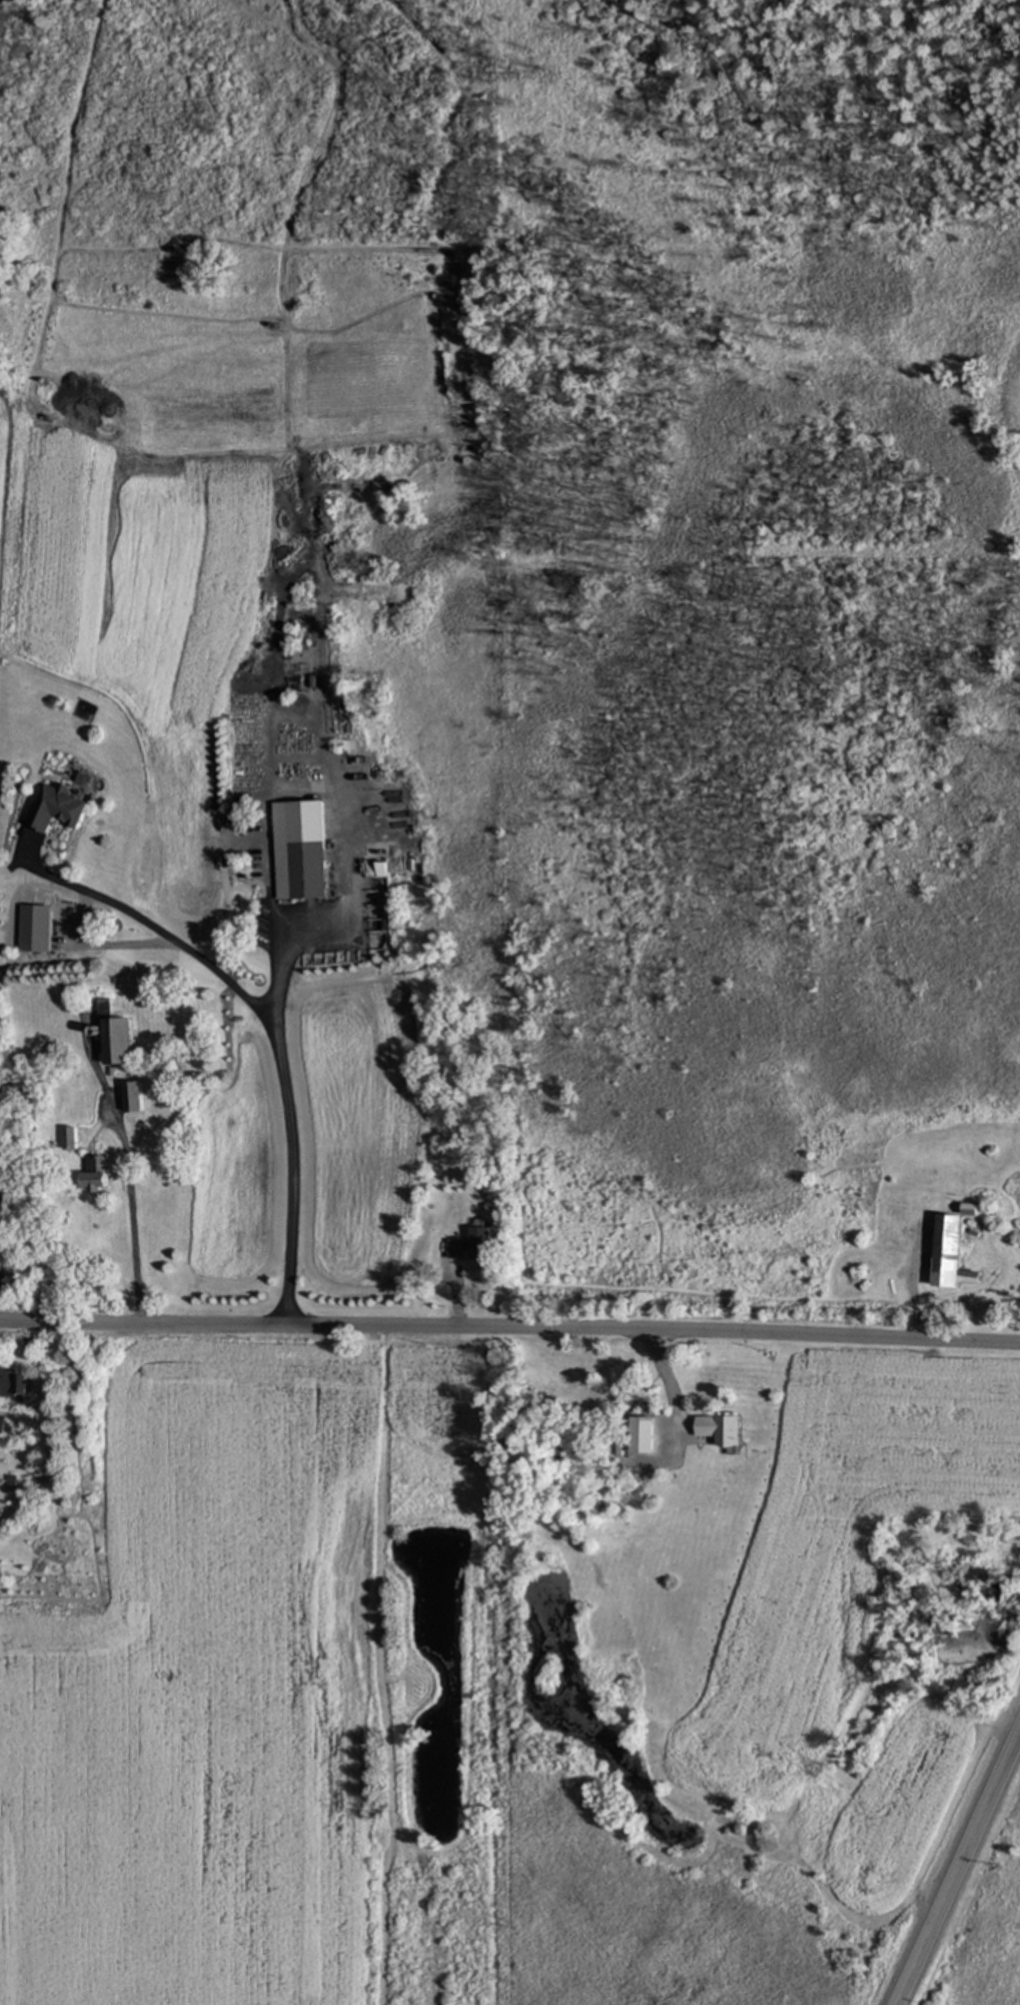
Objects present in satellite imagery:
building: (59, 807)
road: (347, 832)
building: (302, 850)
road: (271, 892)
road: (274, 1030)
building: (121, 1042)
road: (595, 1094)
building: (136, 1097)
building: (74, 1137)
building: (99, 1173)
road: (129, 1186)
building: (475, 1244)
road: (510, 1329)
building: (16, 1381)
building: (2, 1423)
building: (722, 1428)
building: (612, 1529)
road: (960, 1873)

